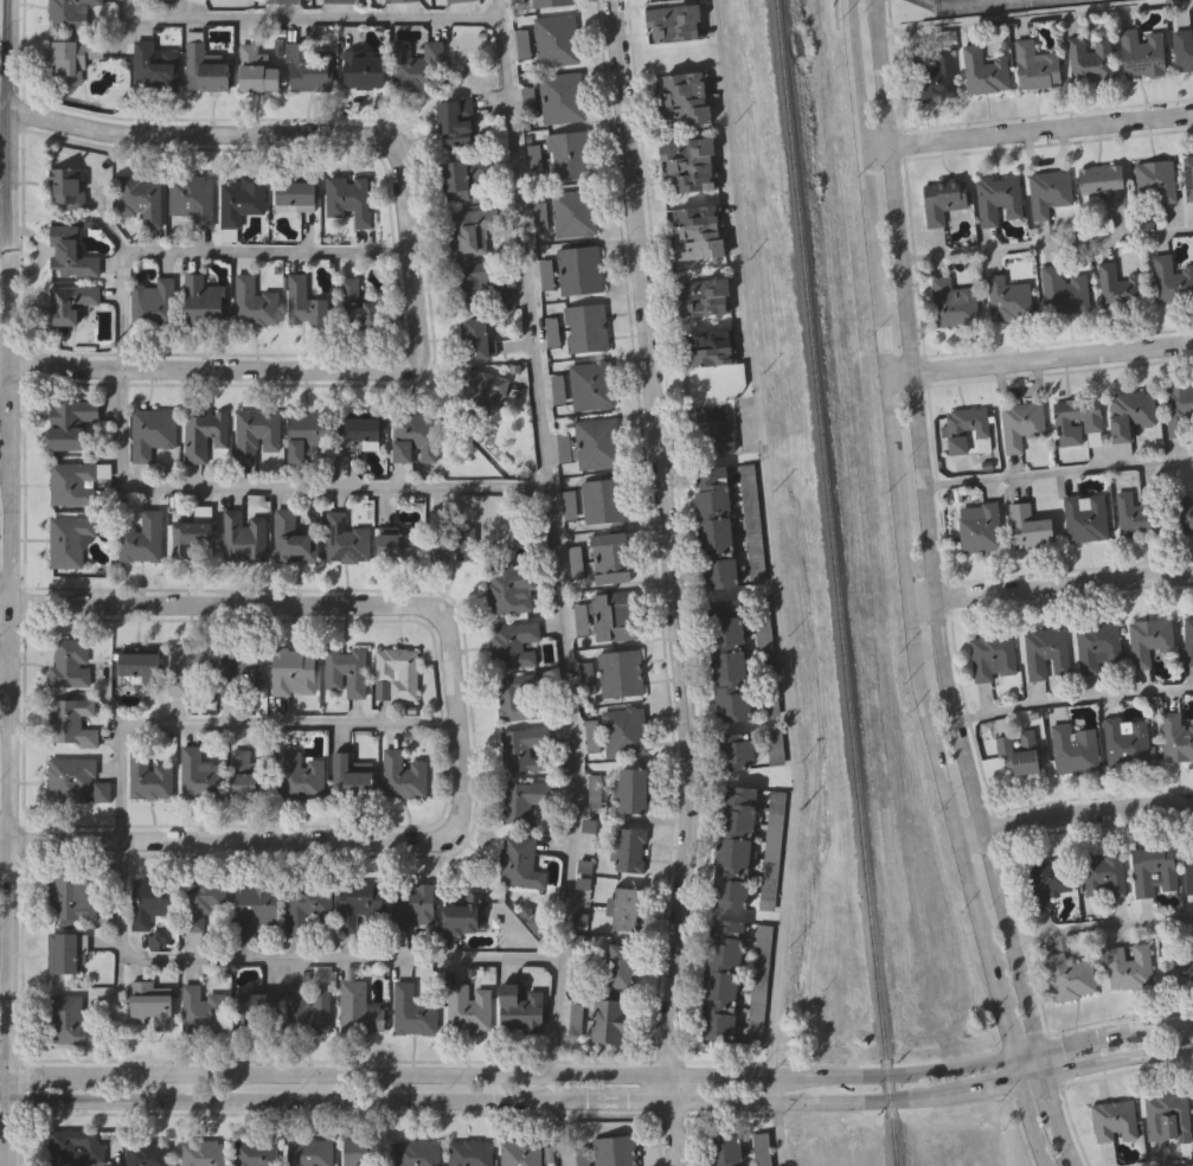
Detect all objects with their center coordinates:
building: (203, 0)
building: (286, 0)
building: (342, 0)
building: (397, 0)
building: (455, 0)
building: (551, 1)
road: (973, 2)
road: (904, 6)
building: (68, 13)
road: (1034, 13)
road: (307, 18)
building: (676, 21)
building: (558, 39)
building: (1182, 47)
building: (1141, 52)
building: (70, 55)
road: (7, 56)
building: (1089, 58)
building: (152, 63)
building: (413, 65)
building: (1034, 65)
building: (203, 68)
building: (307, 68)
building: (363, 69)
building: (983, 69)
building: (254, 70)
building: (938, 72)
road: (879, 73)
road: (858, 75)
building: (564, 96)
building: (686, 98)
road: (4, 110)
road: (4, 114)
building: (455, 121)
road: (1039, 129)
road: (883, 147)
road: (872, 148)
building: (570, 153)
building: (693, 162)
road: (7, 166)
building: (460, 178)
building: (1187, 178)
building: (1153, 181)
building: (1101, 186)
building: (65, 187)
building: (1047, 191)
building: (294, 192)
building: (139, 197)
building: (191, 197)
building: (240, 197)
building: (348, 197)
building: (996, 198)
building: (941, 199)
building: (539, 210)
building: (576, 211)
building: (469, 229)
building: (700, 231)
road: (1046, 244)
road: (207, 248)
building: (70, 256)
road: (410, 261)
building: (581, 269)
building: (1170, 278)
building: (470, 283)
building: (1115, 284)
road: (6, 290)
building: (1061, 290)
building: (705, 295)
building: (1007, 297)
building: (69, 300)
building: (201, 301)
building: (252, 301)
building: (302, 301)
building: (152, 302)
building: (951, 302)
building: (353, 305)
building: (588, 326)
building: (475, 337)
building: (713, 346)
road: (1040, 359)
road: (2, 360)
building: (594, 384)
building: (483, 389)
road: (6, 409)
building: (1178, 409)
building: (1129, 412)
building: (1076, 421)
building: (68, 423)
building: (1020, 424)
building: (962, 427)
building: (360, 429)
building: (306, 430)
building: (150, 433)
building: (203, 433)
building: (255, 434)
building: (413, 436)
building: (598, 442)
building: (717, 442)
road: (1057, 466)
building: (71, 482)
road: (278, 486)
building: (605, 499)
building: (1137, 512)
building: (1185, 513)
building: (1084, 517)
building: (752, 523)
building: (1027, 525)
building: (979, 527)
building: (716, 530)
road: (6, 531)
building: (192, 531)
building: (242, 536)
road: (551, 536)
road: (770, 536)
building: (140, 537)
building: (289, 538)
building: (344, 538)
building: (68, 539)
building: (451, 540)
building: (397, 545)
building: (611, 556)
road: (673, 582)
railway: (836, 582)
road: (1051, 587)
building: (509, 590)
road: (4, 603)
building: (608, 617)
building: (1148, 639)
building: (513, 643)
building: (1095, 645)
road: (7, 651)
building: (764, 652)
building: (1044, 652)
building: (992, 655)
building: (69, 660)
building: (729, 660)
building: (137, 664)
road: (919, 664)
road: (941, 664)
building: (188, 667)
building: (242, 667)
building: (293, 670)
building: (344, 671)
building: (395, 672)
building: (622, 674)
building: (518, 696)
road: (1073, 709)
building: (70, 719)
road: (231, 720)
road: (457, 728)
building: (624, 732)
building: (592, 736)
building: (1175, 736)
building: (1124, 739)
building: (775, 743)
building: (522, 747)
building: (1072, 748)
building: (1018, 749)
building: (736, 750)
road: (7, 769)
building: (198, 774)
building: (245, 774)
building: (402, 774)
building: (300, 775)
building: (349, 775)
building: (68, 776)
building: (148, 776)
building: (595, 790)
building: (633, 790)
building: (522, 799)
road: (1076, 814)
road: (4, 841)
building: (732, 846)
building: (770, 846)
building: (628, 848)
building: (518, 860)
building: (1153, 869)
building: (1102, 872)
building: (1046, 879)
road: (7, 888)
building: (72, 893)
building: (149, 899)
building: (200, 899)
building: (410, 903)
building: (254, 904)
building: (306, 904)
building: (359, 905)
building: (624, 908)
building: (463, 912)
building: (539, 922)
road: (1102, 925)
building: (65, 952)
road: (287, 955)
building: (1187, 961)
building: (618, 965)
building: (1128, 965)
building: (1069, 976)
building: (720, 979)
building: (757, 982)
road: (4, 1002)
building: (149, 1002)
building: (520, 1005)
building: (307, 1006)
building: (467, 1006)
building: (358, 1007)
building: (256, 1008)
building: (201, 1010)
building: (411, 1010)
building: (68, 1019)
building: (610, 1019)
road: (1, 1070)
road: (599, 1071)
road: (1, 1082)
road: (597, 1098)
building: (1166, 1114)
road: (777, 1117)
building: (1112, 1120)
road: (1, 1129)
road: (560, 1132)
building: (75, 1148)
building: (723, 1149)
building: (762, 1149)
building: (617, 1151)
building: (146, 1153)
building: (203, 1153)
building: (256, 1153)
building: (309, 1153)
building: (364, 1153)
building: (416, 1153)
building: (470, 1153)
building: (520, 1153)
building: (584, 1153)
building: (739, 1165)
road: (1173, 1165)

